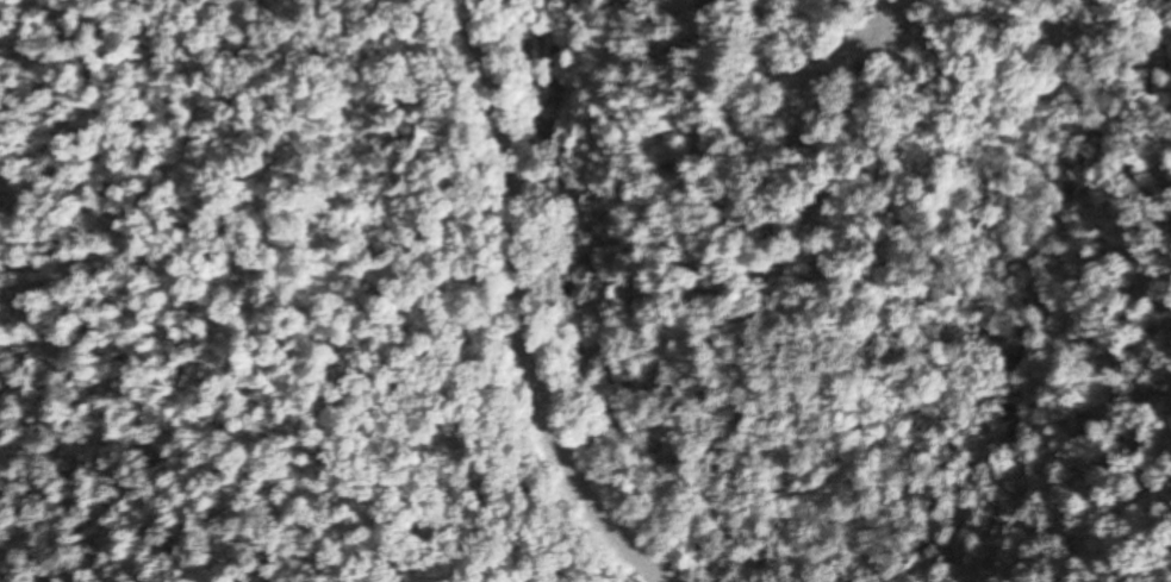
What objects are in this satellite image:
road: (491, 314)

